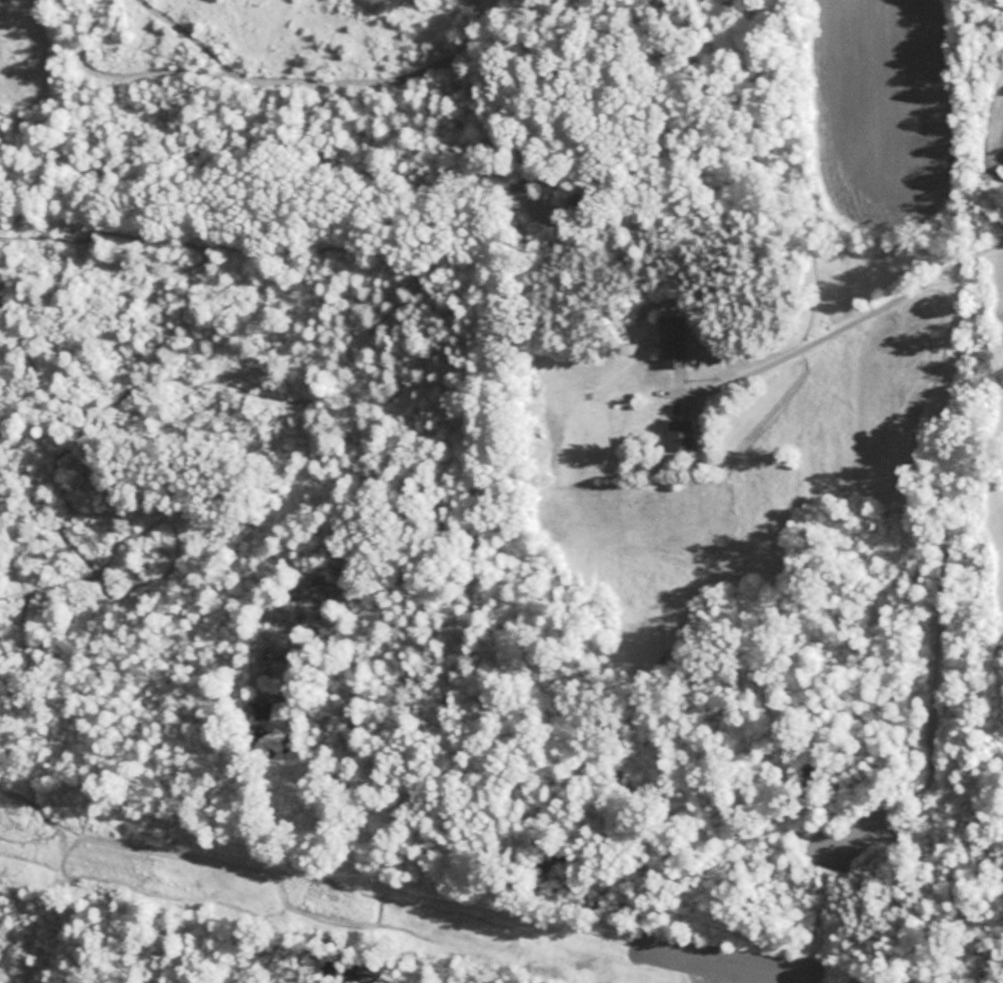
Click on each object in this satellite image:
road: (841, 316)
building: (672, 341)
building: (679, 435)

